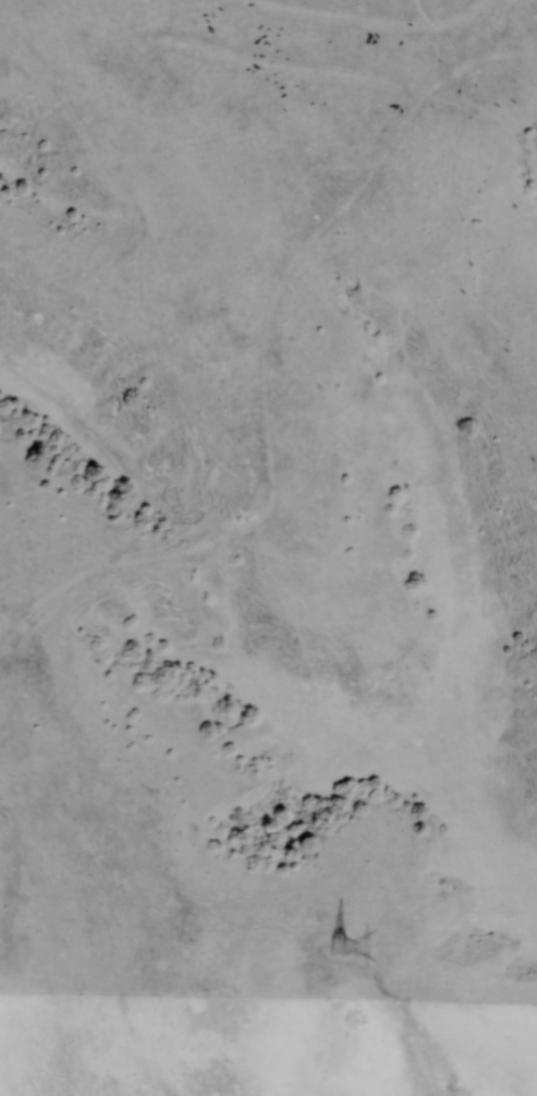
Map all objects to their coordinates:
power tower: (338, 948)

